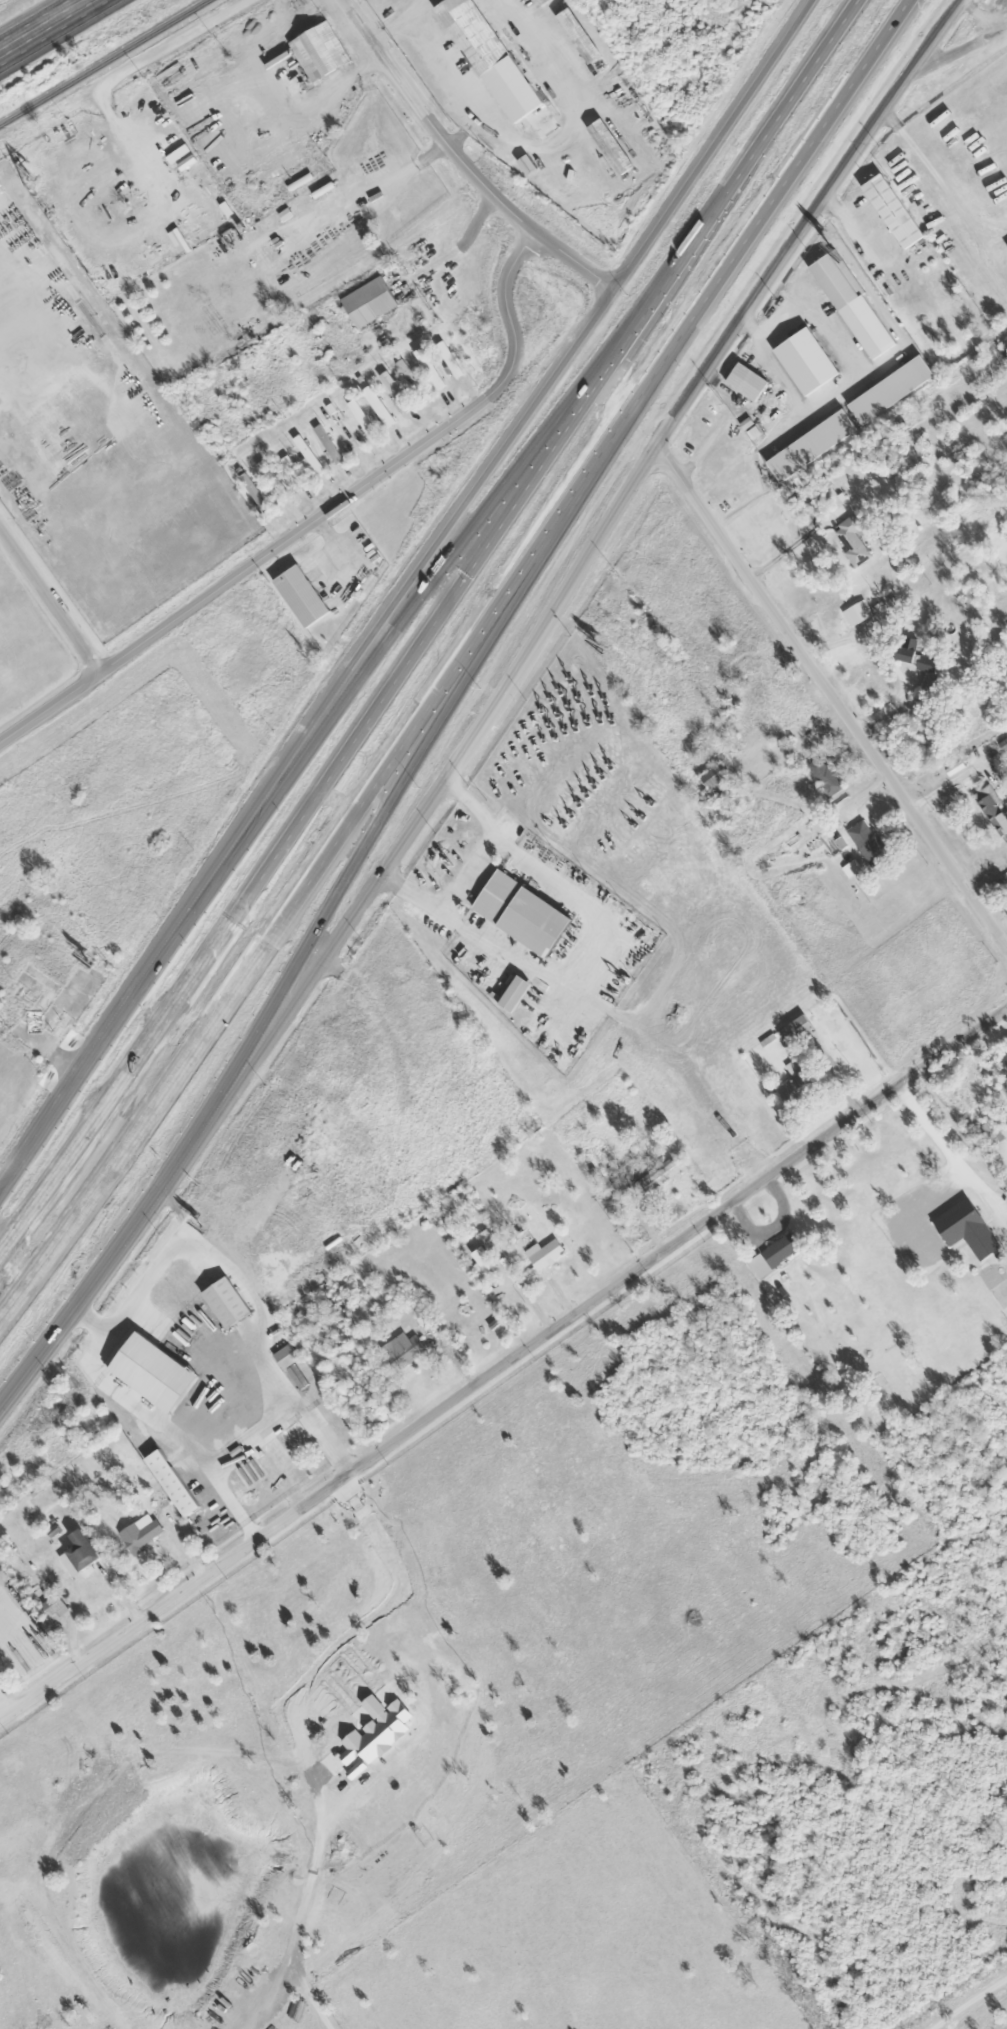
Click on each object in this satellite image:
building: (541, 2)
road: (45, 27)
building: (580, 36)
road: (68, 49)
building: (321, 52)
building: (492, 58)
railway: (105, 62)
road: (97, 98)
building: (613, 147)
road: (460, 160)
building: (529, 164)
road: (737, 186)
road: (777, 203)
building: (895, 211)
road: (478, 220)
road: (802, 220)
building: (181, 241)
building: (371, 302)
building: (856, 305)
building: (452, 360)
building: (809, 362)
building: (431, 369)
building: (413, 382)
building: (750, 382)
building: (396, 391)
building: (894, 391)
building: (379, 406)
building: (366, 421)
building: (330, 446)
building: (814, 446)
building: (312, 458)
building: (294, 470)
building: (275, 481)
building: (256, 493)
road: (497, 501)
road: (318, 518)
building: (855, 542)
building: (304, 597)
road: (52, 599)
road: (402, 599)
building: (860, 614)
building: (919, 657)
building: (933, 681)
road: (834, 687)
building: (1004, 745)
building: (718, 777)
building: (829, 777)
road: (413, 780)
building: (996, 811)
road: (306, 818)
building: (871, 844)
road: (321, 867)
building: (526, 914)
road: (337, 931)
building: (518, 994)
building: (60, 1025)
building: (798, 1030)
building: (802, 1085)
building: (648, 1181)
building: (970, 1229)
building: (489, 1240)
building: (547, 1254)
building: (777, 1255)
building: (485, 1261)
building: (231, 1302)
building: (406, 1350)
building: (288, 1356)
road: (503, 1367)
building: (153, 1371)
building: (174, 1483)
building: (142, 1534)
building: (85, 1552)
building: (58, 1607)
building: (0, 1668)
building: (379, 1731)
road: (316, 1747)

